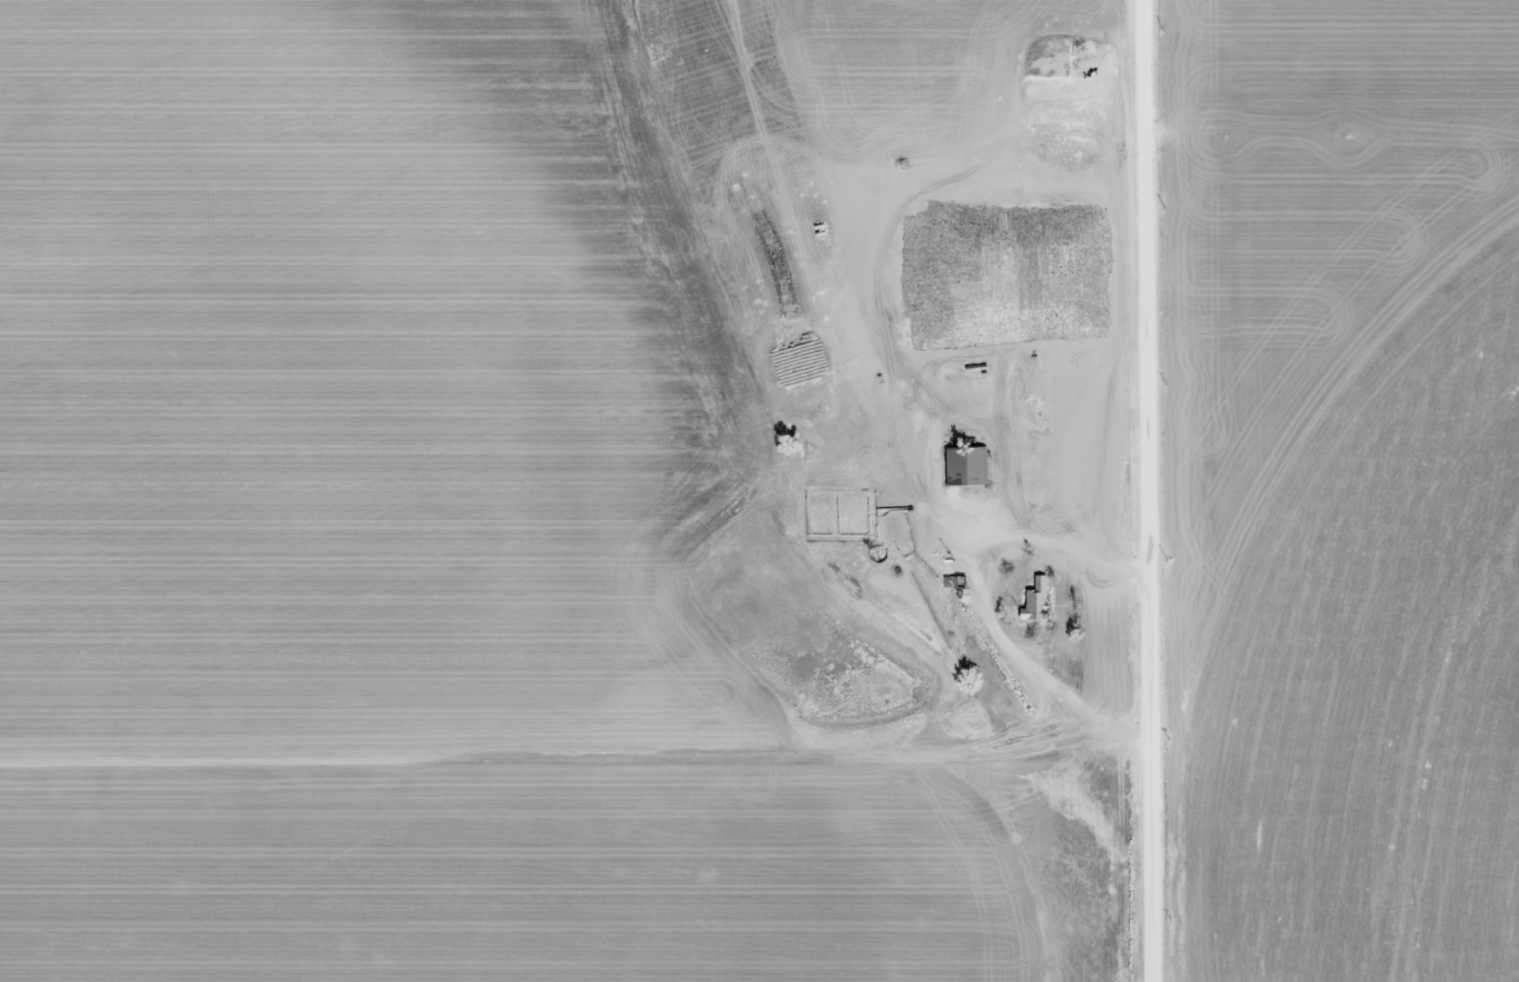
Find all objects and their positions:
road: (1144, 491)
building: (1038, 601)

